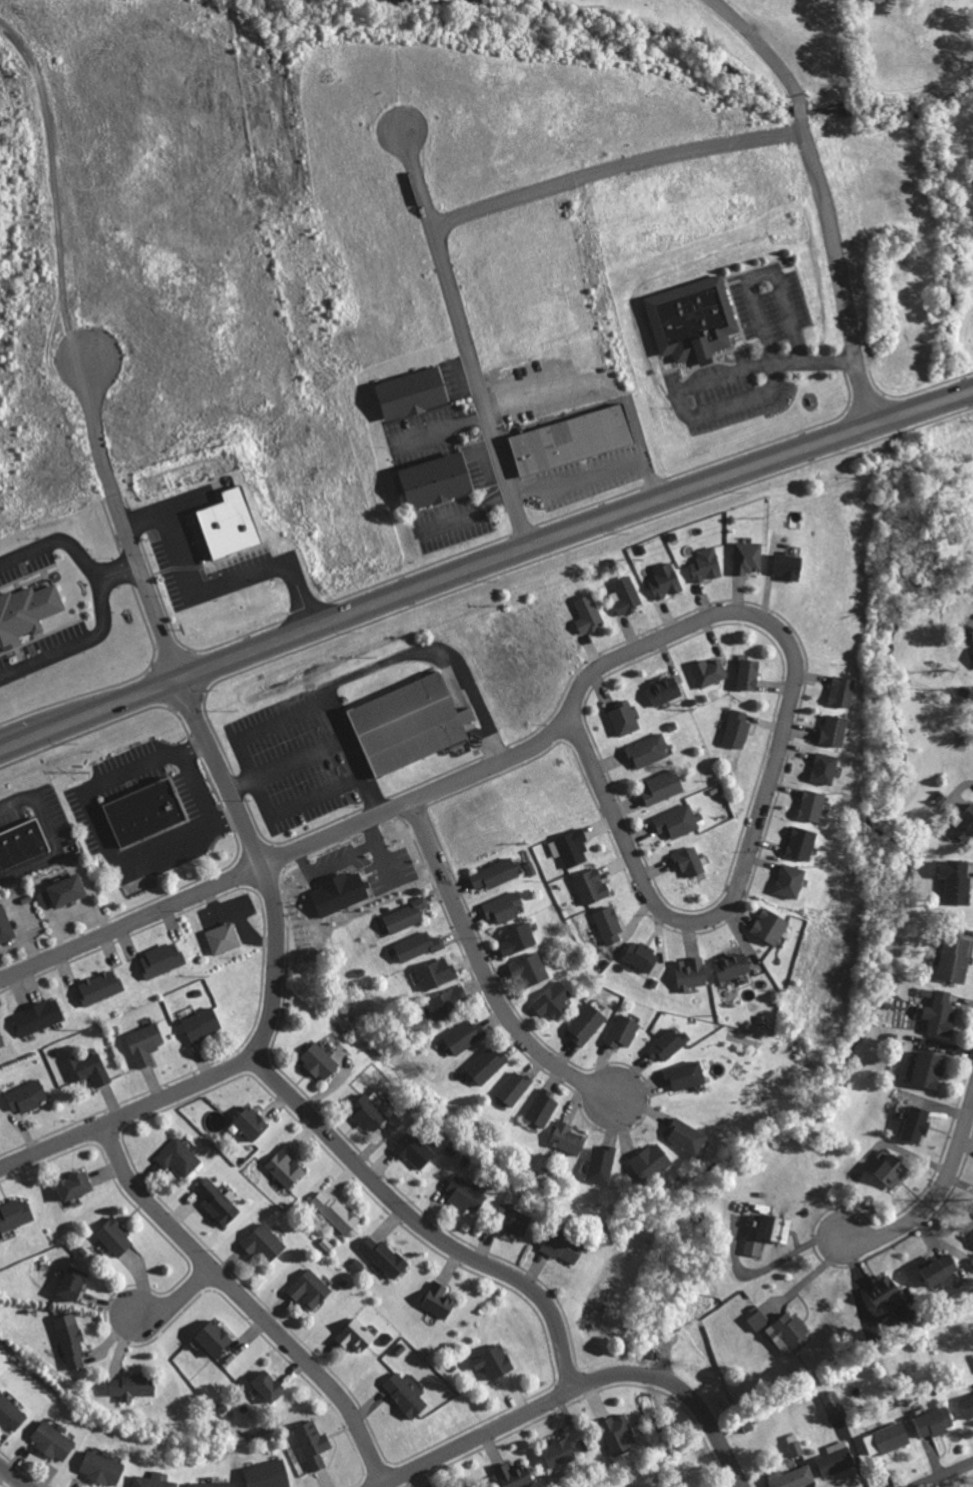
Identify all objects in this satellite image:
park: (972, 6)
road: (762, 47)
road: (799, 110)
road: (800, 123)
road: (760, 136)
building: (694, 319)
road: (461, 329)
road: (768, 364)
road: (552, 385)
building: (408, 394)
road: (635, 424)
building: (567, 438)
road: (599, 470)
building: (431, 479)
road: (116, 507)
building: (230, 524)
road: (54, 543)
building: (748, 557)
road: (484, 562)
building: (707, 564)
building: (790, 566)
road: (116, 570)
building: (667, 581)
building: (627, 595)
building: (27, 611)
building: (589, 613)
road: (75, 644)
road: (375, 666)
building: (709, 672)
building: (751, 674)
building: (666, 690)
building: (842, 691)
building: (626, 718)
building: (412, 723)
building: (738, 728)
building: (835, 730)
building: (648, 750)
building: (825, 768)
road: (767, 780)
building: (664, 786)
road: (303, 802)
building: (812, 805)
building: (146, 811)
building: (678, 821)
building: (965, 826)
building: (801, 843)
building: (23, 844)
building: (573, 848)
road: (282, 855)
building: (691, 861)
building: (530, 868)
building: (496, 874)
building: (790, 880)
building: (956, 880)
building: (591, 886)
building: (68, 890)
building: (341, 893)
building: (44, 900)
building: (504, 907)
building: (407, 916)
building: (609, 924)
building: (6, 925)
building: (771, 925)
building: (224, 938)
building: (518, 939)
building: (419, 946)
building: (642, 956)
building: (162, 959)
building: (955, 959)
building: (733, 965)
building: (530, 969)
road: (484, 971)
building: (437, 973)
building: (691, 973)
building: (101, 986)
road: (273, 996)
building: (554, 1001)
building: (449, 1002)
building: (940, 1014)
building: (40, 1016)
building: (203, 1024)
building: (587, 1024)
building: (623, 1031)
building: (465, 1035)
building: (2, 1041)
building: (146, 1043)
building: (669, 1044)
building: (320, 1061)
building: (487, 1064)
building: (89, 1069)
building: (930, 1069)
building: (686, 1075)
building: (515, 1088)
building: (28, 1096)
building: (543, 1107)
building: (372, 1111)
building: (214, 1121)
building: (253, 1123)
building: (918, 1124)
building: (687, 1136)
building: (568, 1138)
building: (416, 1150)
building: (180, 1157)
building: (651, 1161)
building: (602, 1164)
building: (287, 1166)
building: (893, 1170)
building: (77, 1186)
building: (468, 1194)
road: (932, 1197)
building: (335, 1212)
building: (16, 1215)
building: (513, 1220)
road: (418, 1223)
building: (775, 1228)
building: (116, 1237)
building: (972, 1239)
building: (265, 1243)
building: (753, 1246)
building: (564, 1247)
building: (385, 1257)
building: (941, 1268)
building: (74, 1283)
building: (310, 1289)
building: (884, 1291)
road: (176, 1300)
building: (439, 1300)
road: (243, 1301)
building: (759, 1319)
building: (790, 1334)
building: (357, 1335)
building: (215, 1338)
building: (71, 1340)
building: (495, 1362)
building: (133, 1386)
building: (270, 1386)
road: (576, 1386)
building: (405, 1395)
building: (968, 1405)
building: (834, 1406)
building: (11, 1413)
building: (937, 1422)
building: (618, 1434)
building: (887, 1439)
building: (53, 1440)
building: (314, 1445)
building: (561, 1453)
building: (836, 1458)
building: (102, 1468)
building: (268, 1474)
road: (946, 1475)
road: (15, 1476)
building: (515, 1476)
building: (795, 1478)
building: (152, 1481)
building: (213, 1484)

